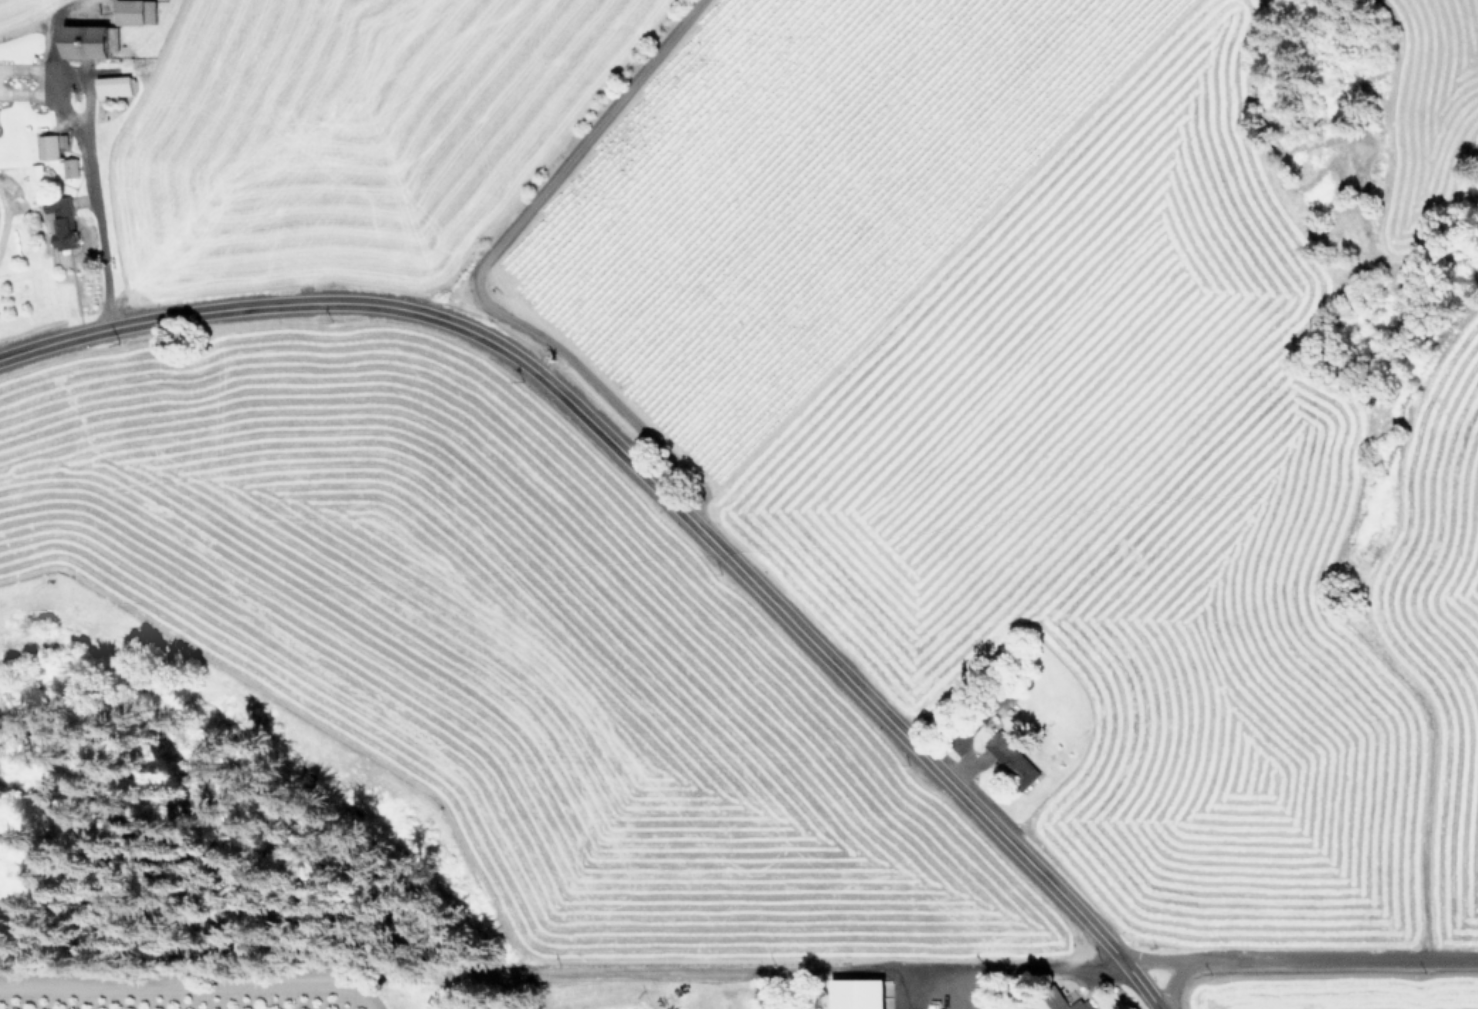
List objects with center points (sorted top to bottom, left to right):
building: (138, 11)
building: (90, 40)
building: (115, 85)
building: (49, 146)
road: (82, 147)
building: (71, 167)
building: (37, 171)
building: (64, 221)
road: (474, 271)
crop: (925, 348)
road: (656, 486)
crop: (429, 725)
building: (1015, 757)
road: (1298, 956)
road: (1012, 968)
road: (1168, 982)
crop: (1345, 991)
building: (863, 993)
building: (1061, 1002)

